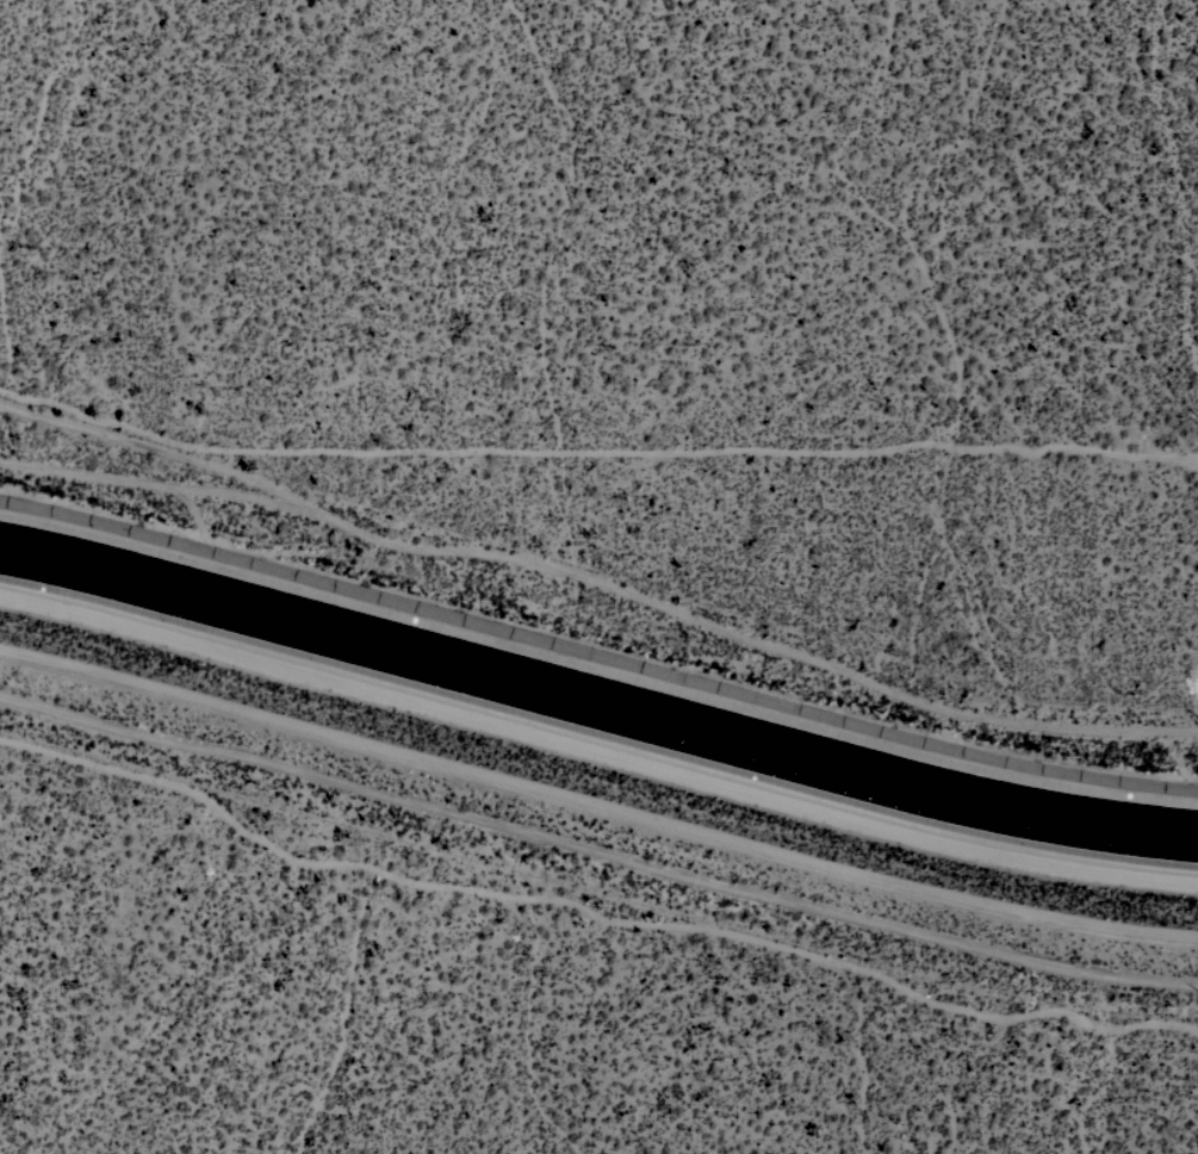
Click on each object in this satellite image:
road: (592, 913)

